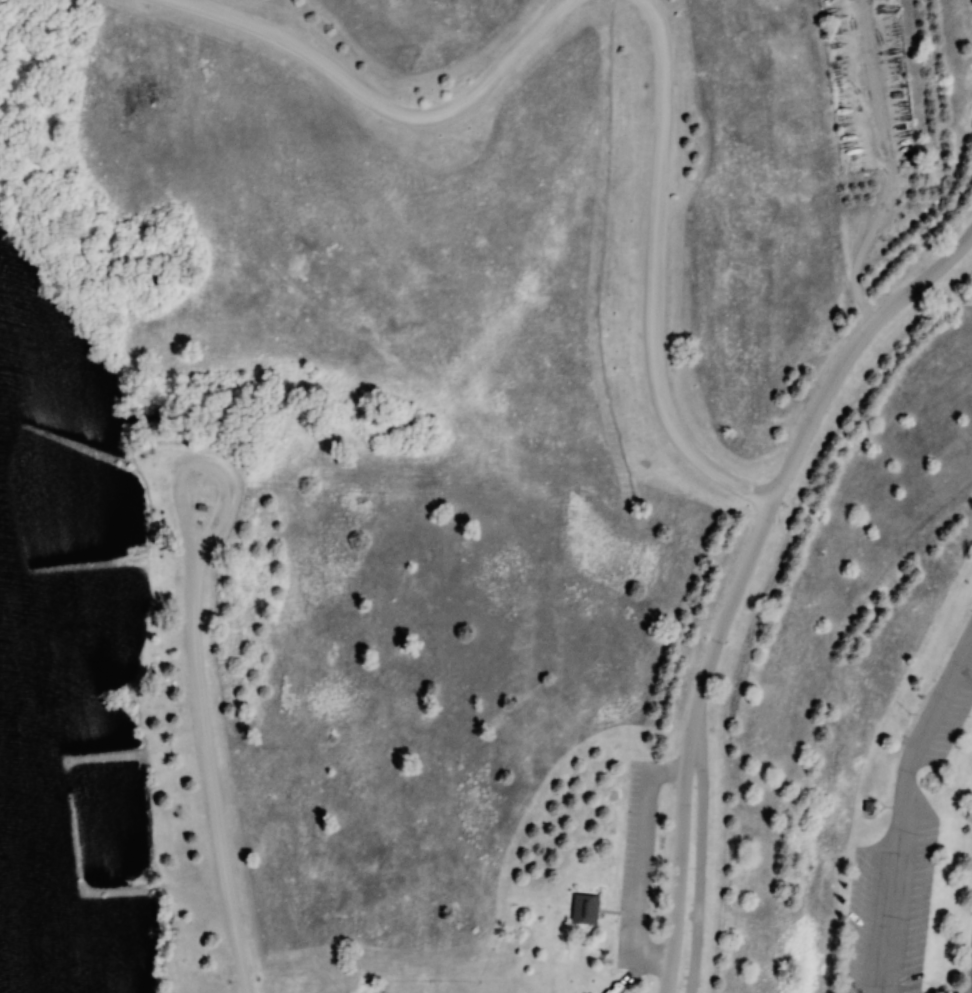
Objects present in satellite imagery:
road: (380, 106)
road: (885, 165)
road: (656, 274)
park: (486, 496)
road: (739, 577)
road: (900, 805)
road: (698, 847)
parking lot: (903, 851)
road: (643, 861)
parking lot: (635, 876)
building: (584, 909)
parking lot: (968, 965)
road: (971, 990)

